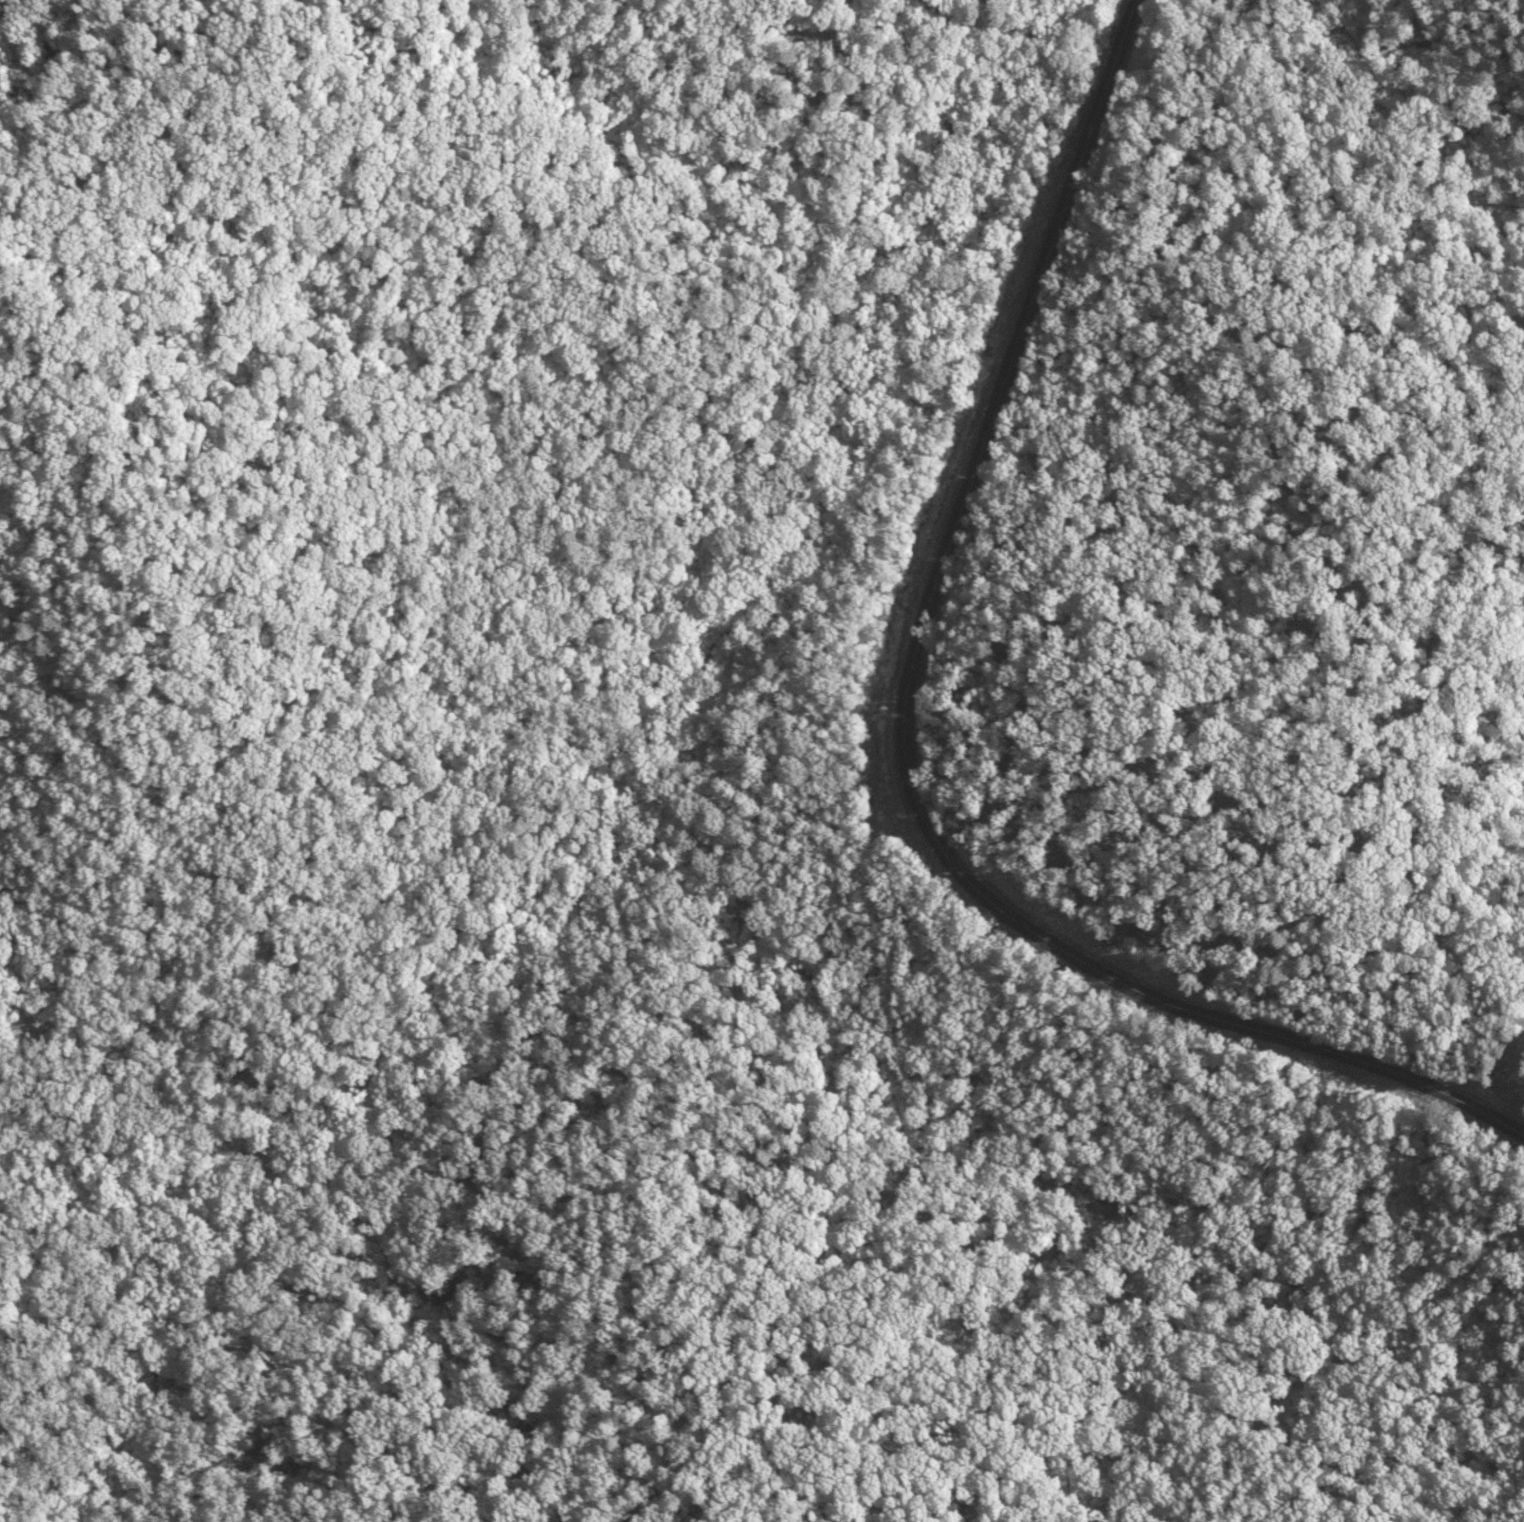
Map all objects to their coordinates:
road: (169, 130)
road: (1362, 550)
road: (908, 734)
park: (762, 761)
road: (1517, 1080)

